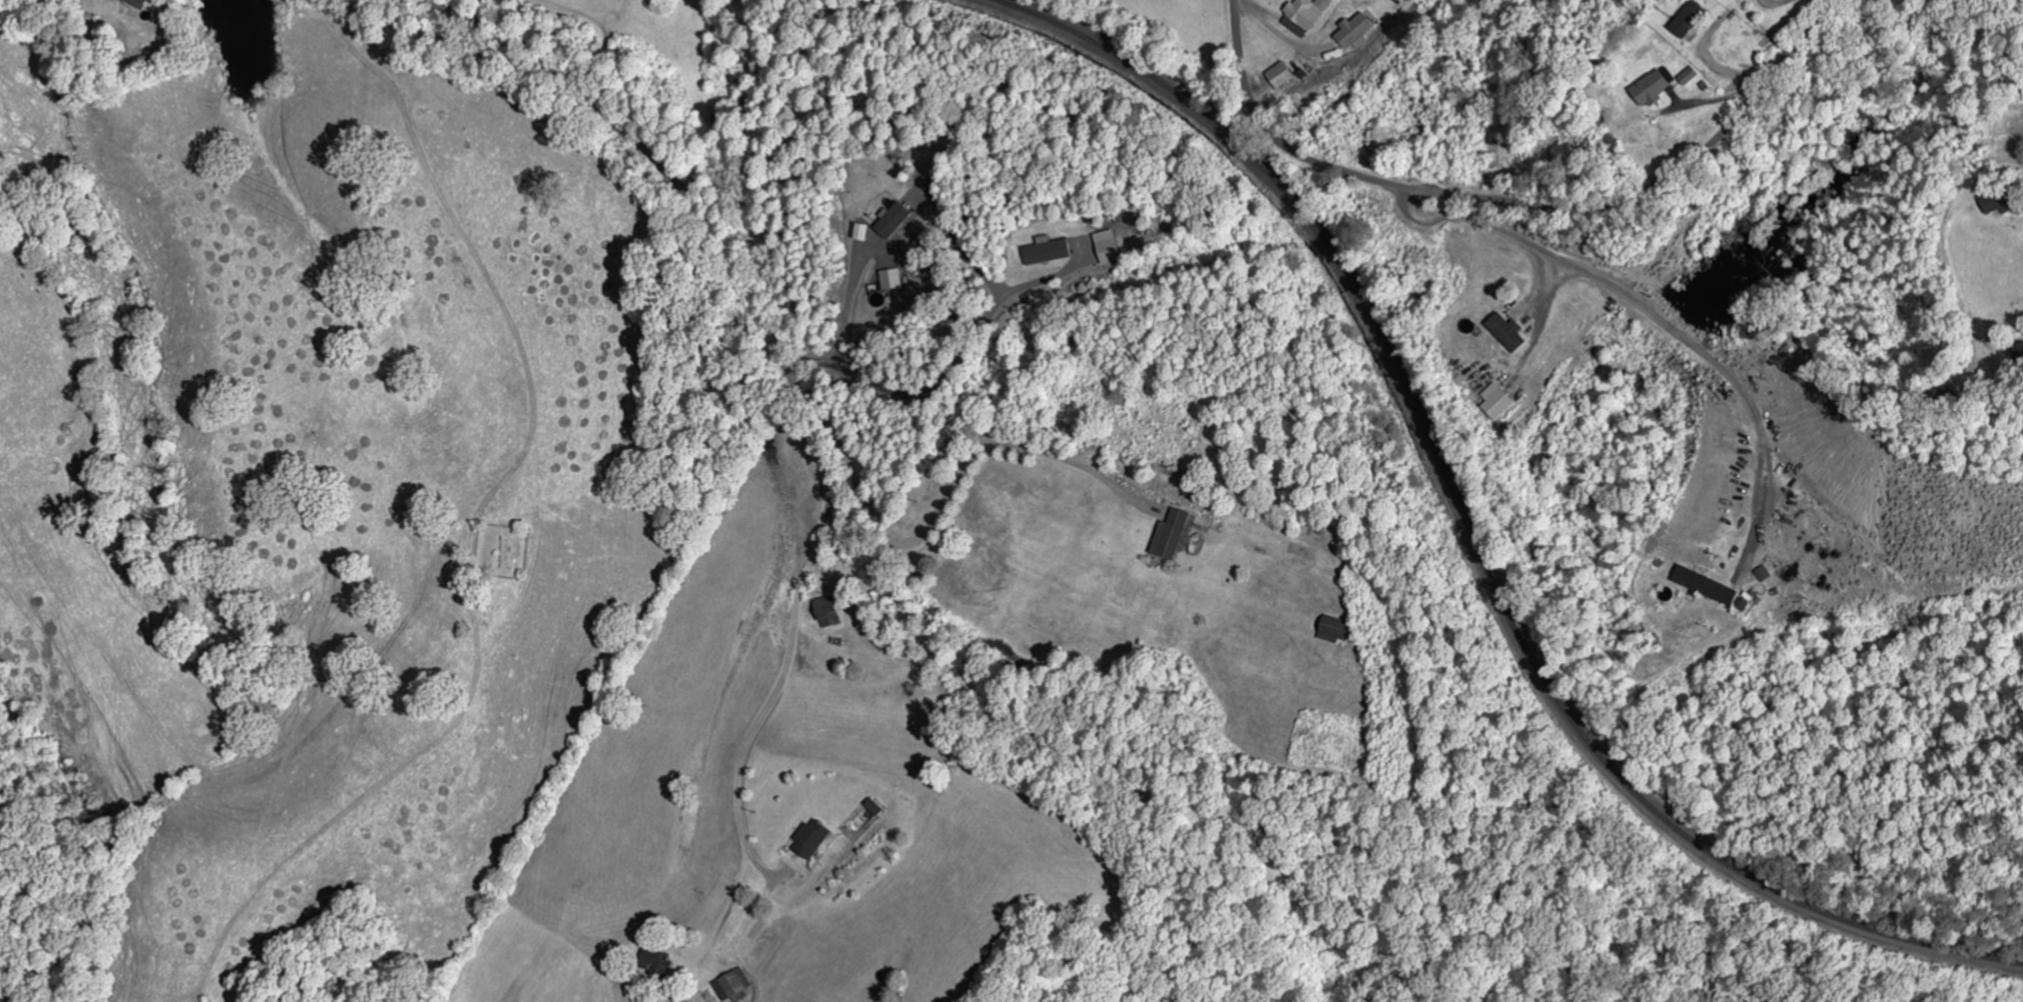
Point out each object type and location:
building: (144, 4)
building: (1304, 16)
building: (1686, 20)
building: (1352, 33)
building: (1280, 76)
building: (1686, 77)
building: (1648, 90)
building: (1997, 202)
road: (1519, 203)
road: (692, 207)
building: (891, 221)
building: (859, 233)
building: (1106, 247)
building: (1045, 252)
building: (890, 280)
building: (1504, 333)
building: (1497, 403)
railway: (1470, 522)
building: (1166, 536)
building: (1703, 587)
building: (824, 613)
building: (1332, 631)
building: (874, 808)
building: (808, 841)
building: (734, 986)

